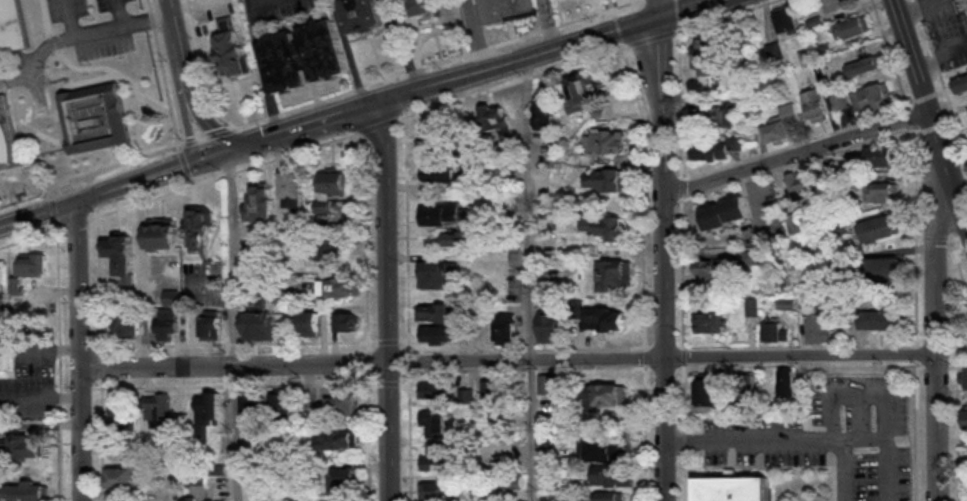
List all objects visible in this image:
building: (834, 4)
building: (963, 4)
building: (424, 6)
road: (658, 6)
road: (680, 6)
parking lot: (282, 8)
building: (502, 8)
road: (612, 8)
road: (677, 11)
road: (120, 12)
road: (171, 12)
building: (364, 13)
road: (725, 14)
road: (72, 18)
building: (787, 20)
building: (815, 20)
road: (677, 21)
road: (551, 22)
building: (851, 25)
building: (13, 27)
road: (618, 29)
road: (676, 29)
road: (344, 33)
road: (436, 33)
road: (476, 34)
road: (78, 35)
road: (650, 37)
parking lot: (87, 42)
road: (562, 43)
road: (403, 45)
road: (258, 46)
building: (231, 48)
building: (825, 48)
building: (774, 50)
building: (305, 54)
building: (808, 55)
road: (890, 55)
building: (707, 62)
road: (436, 63)
building: (865, 64)
road: (85, 72)
building: (750, 72)
road: (106, 76)
road: (941, 77)
road: (512, 82)
building: (961, 83)
road: (360, 86)
road: (424, 87)
road: (400, 90)
building: (583, 91)
road: (195, 92)
road: (167, 93)
road: (182, 94)
building: (872, 98)
building: (840, 99)
building: (815, 102)
road: (918, 103)
building: (545, 114)
building: (721, 114)
road: (276, 115)
building: (496, 115)
road: (911, 115)
road: (930, 116)
building: (95, 117)
road: (16, 118)
road: (328, 119)
building: (781, 122)
road: (915, 122)
road: (384, 123)
road: (927, 123)
road: (60, 129)
road: (220, 131)
road: (40, 132)
building: (8, 135)
road: (299, 137)
road: (202, 138)
building: (442, 139)
building: (606, 139)
road: (189, 141)
road: (250, 144)
building: (715, 147)
road: (796, 151)
traffic signals: (229, 152)
road: (115, 155)
building: (880, 155)
road: (801, 161)
road: (722, 165)
building: (440, 171)
road: (229, 172)
road: (91, 173)
road: (21, 175)
road: (89, 177)
road: (680, 177)
building: (609, 178)
building: (334, 180)
building: (797, 184)
building: (295, 186)
road: (680, 186)
road: (114, 188)
road: (49, 191)
building: (881, 191)
road: (645, 193)
road: (93, 194)
building: (261, 203)
building: (324, 204)
road: (52, 207)
building: (724, 211)
building: (446, 214)
building: (794, 221)
road: (76, 222)
building: (605, 225)
building: (200, 226)
building: (881, 226)
road: (407, 228)
building: (163, 232)
road: (916, 234)
road: (31, 235)
building: (463, 235)
road: (367, 239)
road: (953, 245)
building: (322, 248)
building: (121, 255)
road: (665, 256)
building: (753, 256)
building: (254, 261)
building: (31, 263)
building: (886, 268)
road: (681, 271)
building: (707, 271)
building: (439, 273)
building: (614, 273)
road: (532, 277)
road: (99, 280)
building: (16, 284)
building: (344, 285)
road: (216, 289)
road: (387, 300)
building: (753, 305)
building: (440, 311)
building: (606, 317)
building: (2, 318)
building: (880, 319)
building: (347, 320)
building: (127, 321)
building: (711, 321)
building: (308, 322)
building: (167, 323)
building: (551, 323)
building: (259, 324)
road: (234, 325)
building: (506, 325)
road: (936, 325)
building: (211, 326)
building: (821, 327)
building: (775, 330)
building: (438, 332)
road: (232, 342)
road: (387, 344)
road: (766, 344)
road: (84, 345)
road: (661, 346)
road: (523, 349)
road: (80, 350)
road: (400, 350)
road: (917, 352)
road: (645, 356)
road: (683, 356)
road: (508, 358)
road: (409, 359)
road: (59, 360)
road: (368, 361)
road: (799, 362)
road: (100, 365)
road: (664, 366)
road: (524, 367)
road: (389, 375)
road: (369, 376)
building: (964, 377)
road: (372, 381)
building: (788, 382)
building: (547, 383)
road: (229, 385)
road: (85, 387)
building: (494, 389)
building: (707, 390)
building: (438, 392)
building: (603, 393)
building: (468, 395)
road: (684, 396)
road: (886, 400)
building: (342, 401)
building: (283, 402)
building: (252, 404)
building: (158, 408)
building: (206, 408)
building: (310, 413)
building: (122, 415)
building: (966, 418)
building: (434, 421)
road: (917, 430)
road: (959, 432)
road: (410, 433)
road: (645, 433)
parking lot: (832, 434)
road: (102, 438)
building: (337, 438)
road: (685, 438)
building: (541, 439)
road: (748, 439)
road: (370, 441)
road: (731, 442)
building: (23, 446)
building: (600, 447)
building: (434, 456)
building: (500, 460)
road: (731, 461)
road: (846, 462)
road: (770, 465)
road: (835, 469)
building: (613, 474)
building: (124, 475)
road: (685, 475)
building: (342, 478)
building: (515, 481)
road: (786, 483)
building: (733, 489)
building: (25, 490)
building: (435, 490)
building: (609, 496)
building: (216, 499)
building: (189, 500)

